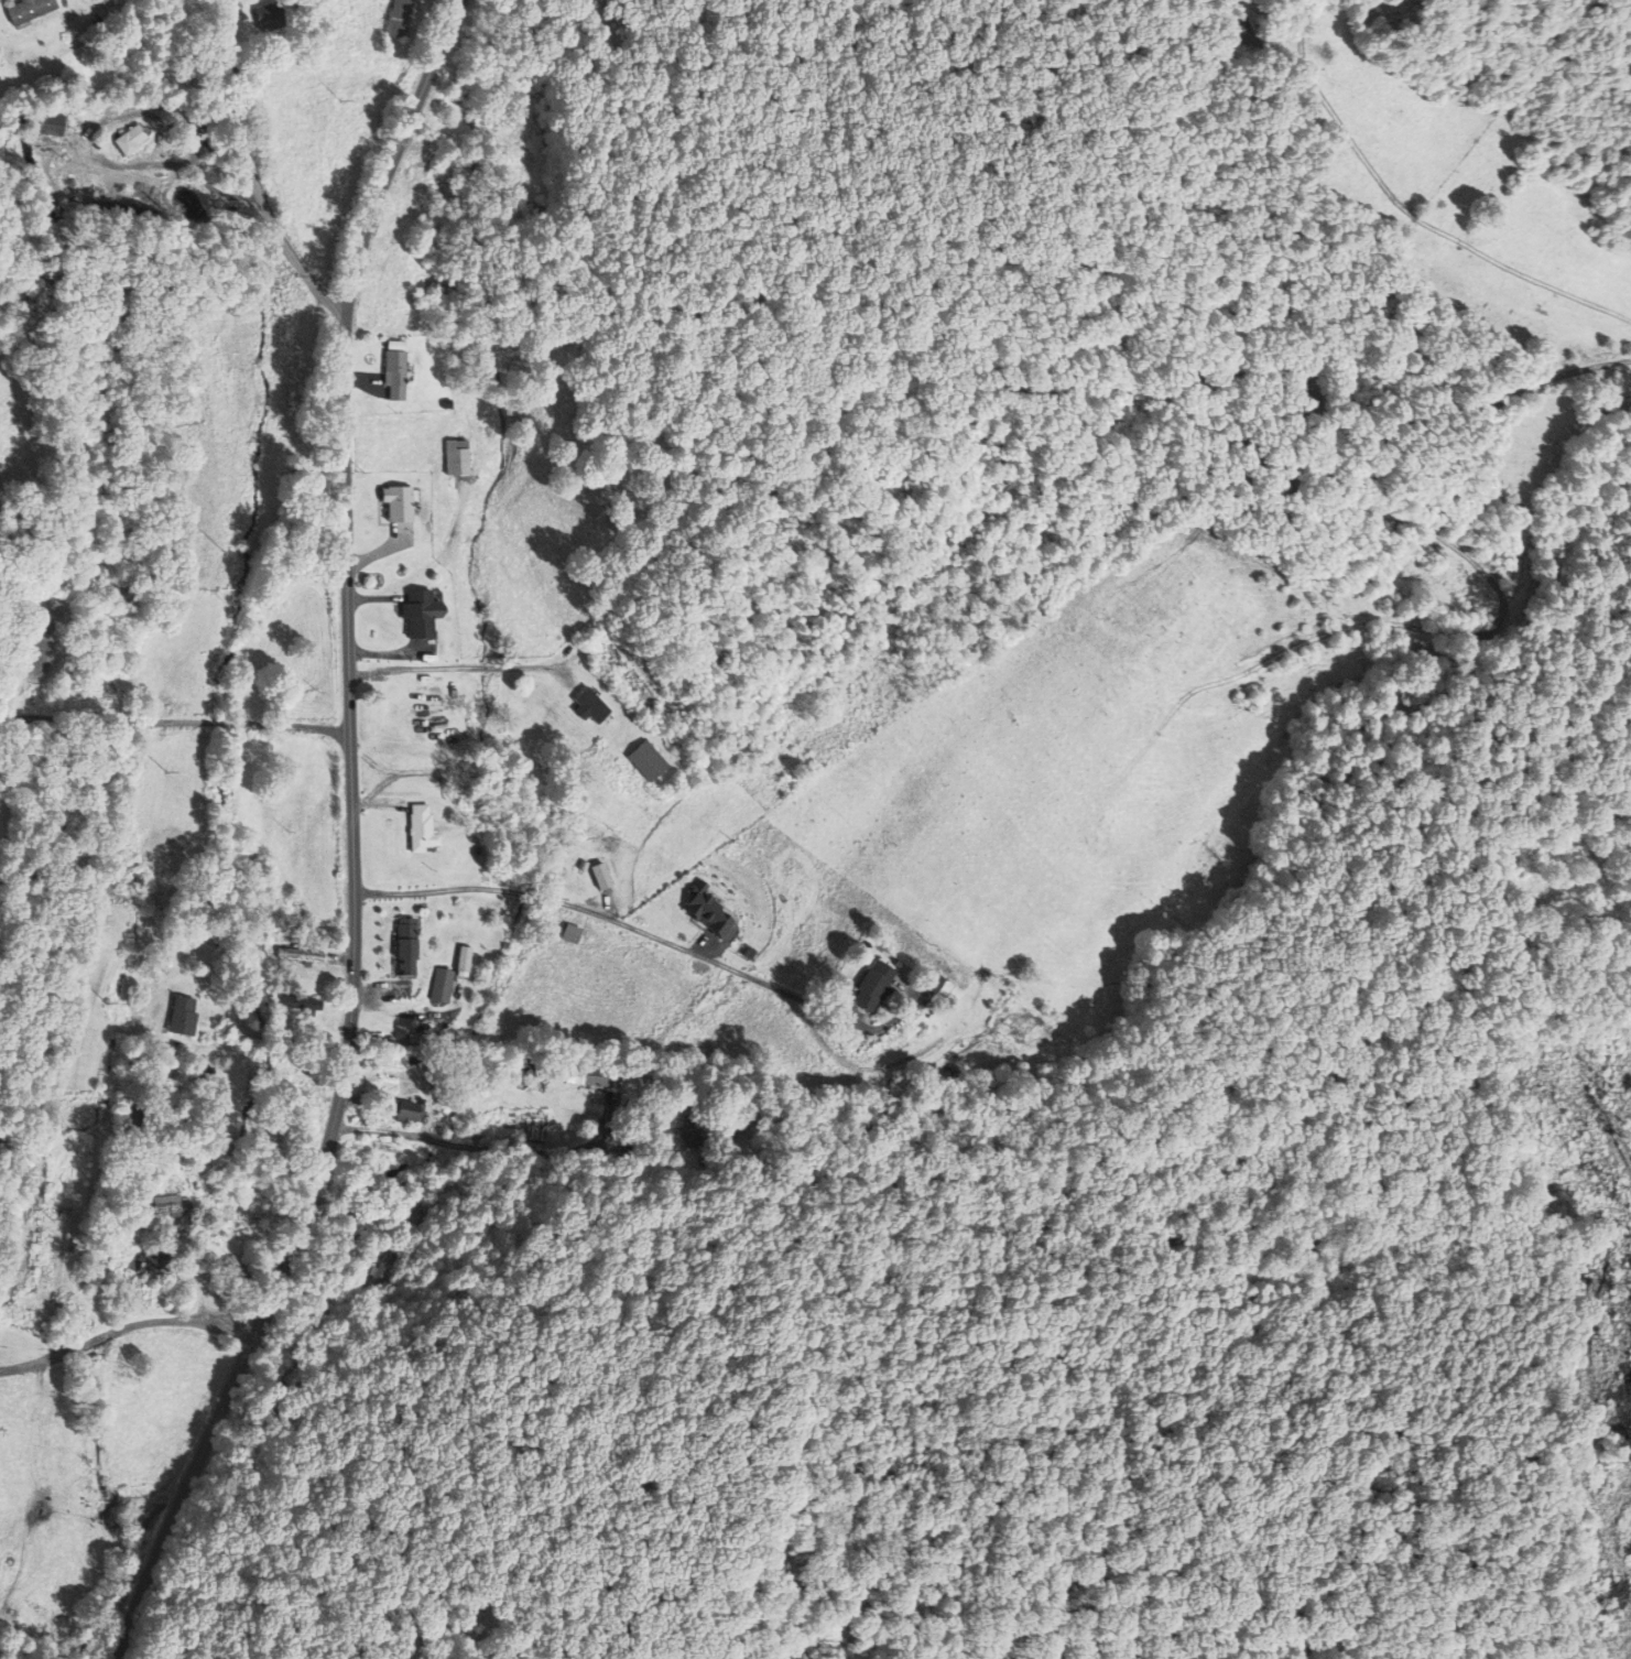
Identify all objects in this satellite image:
building: (26, 9)
building: (274, 18)
building: (405, 18)
power tower: (341, 98)
building: (51, 124)
building: (132, 141)
road: (251, 170)
power tower: (293, 274)
building: (398, 370)
building: (458, 459)
building: (400, 502)
power tower: (224, 550)
building: (423, 612)
road: (457, 666)
building: (589, 705)
road: (175, 719)
building: (644, 761)
power tower: (165, 769)
building: (425, 829)
road: (354, 841)
building: (708, 911)
road: (615, 921)
building: (572, 933)
building: (407, 945)
building: (300, 954)
building: (464, 958)
building: (934, 980)
building: (441, 985)
building: (874, 985)
power tower: (105, 999)
building: (296, 1002)
building: (184, 1015)
road: (313, 1050)
building: (591, 1075)
building: (407, 1110)
building: (698, 1115)
road: (456, 1140)
building: (172, 1204)
building: (422, 1213)
building: (109, 1268)
building: (144, 1268)
road: (124, 1325)

